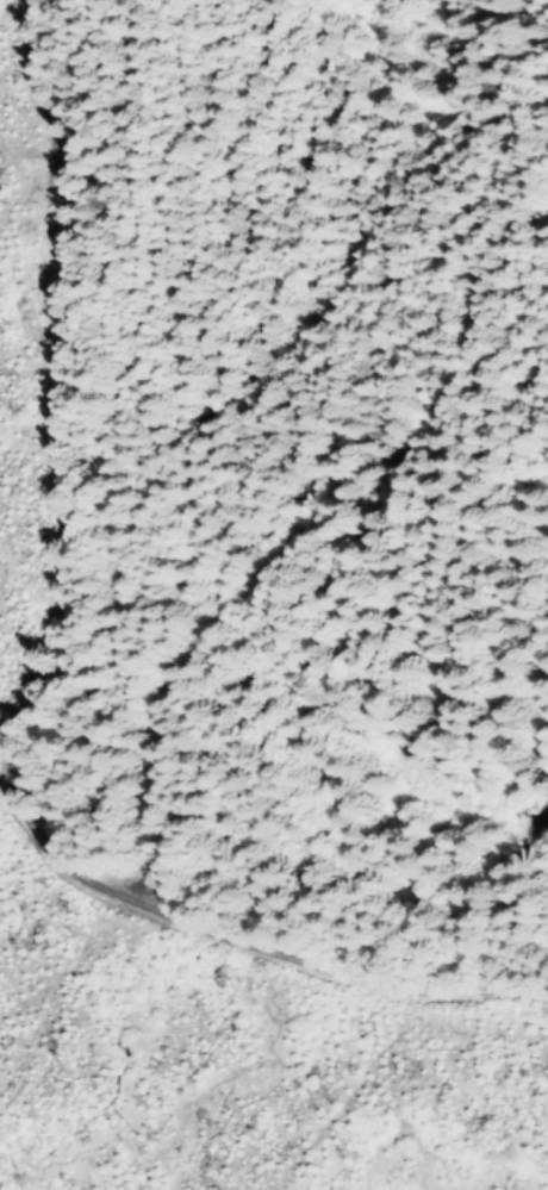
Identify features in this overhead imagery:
road: (67, 746)

